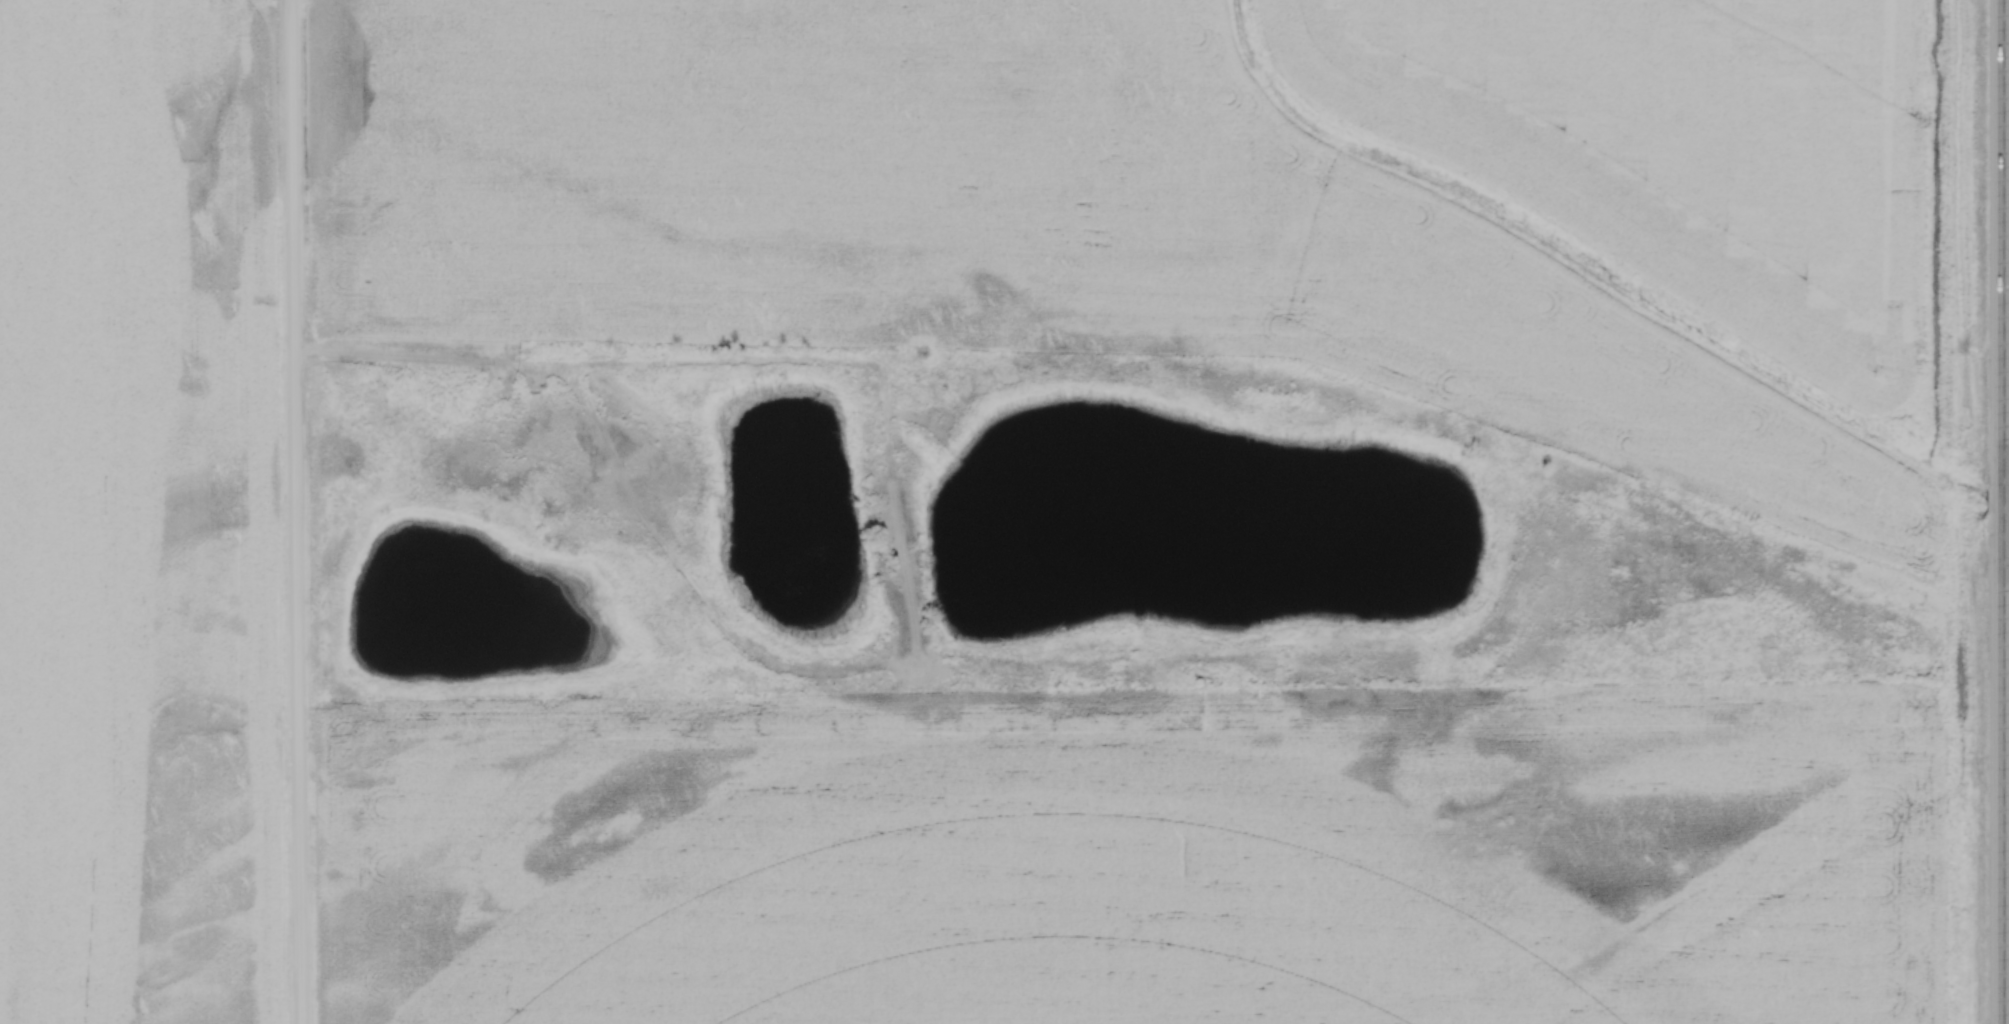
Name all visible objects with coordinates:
crop: (1749, 456)
road: (294, 512)
road: (2005, 512)

